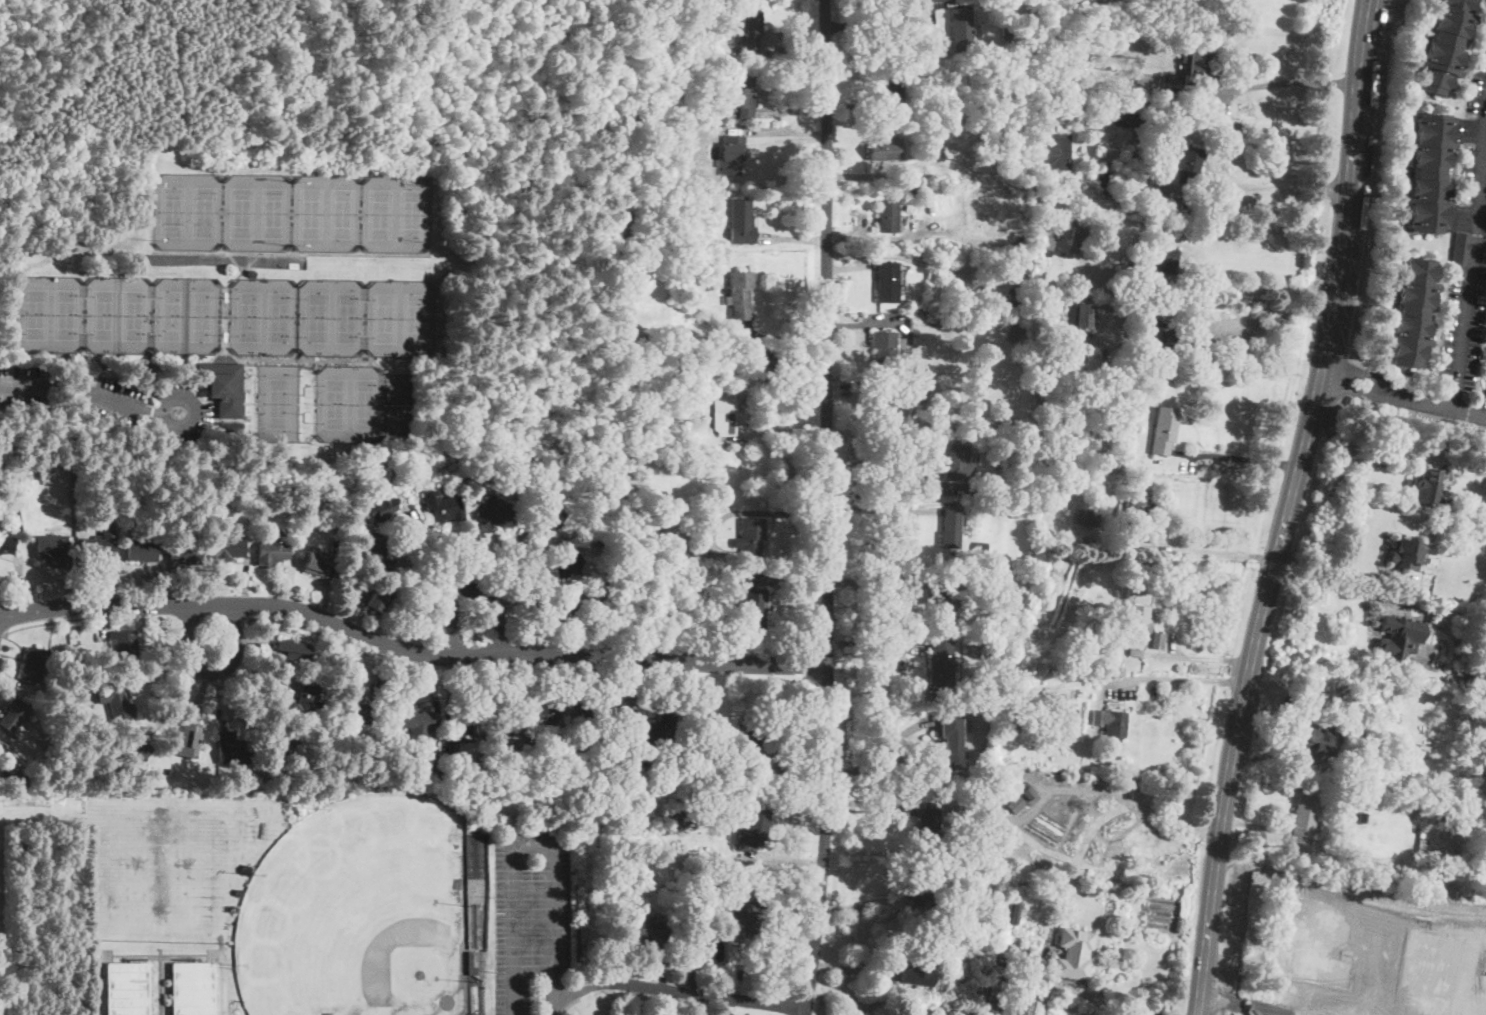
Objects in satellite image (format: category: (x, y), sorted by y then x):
road: (1484, 2)
building: (690, 7)
building: (637, 10)
road: (881, 16)
building: (962, 29)
building: (1006, 32)
building: (750, 33)
building: (1202, 41)
building: (1444, 44)
building: (1197, 67)
road: (1289, 81)
building: (890, 91)
building: (735, 97)
building: (1131, 97)
building: (1121, 115)
building: (1051, 126)
building: (941, 130)
building: (881, 150)
building: (731, 155)
building: (1185, 162)
building: (1428, 174)
building: (678, 177)
road: (1482, 184)
road: (1276, 189)
building: (910, 190)
building: (1160, 202)
building: (1043, 205)
park: (292, 213)
building: (887, 216)
building: (1008, 221)
building: (741, 222)
road: (1367, 230)
building: (1078, 235)
park: (308, 238)
building: (640, 240)
building: (1047, 240)
road: (1470, 253)
building: (1461, 256)
building: (680, 262)
building: (1154, 265)
building: (251, 272)
building: (886, 281)
building: (683, 289)
road: (1249, 291)
building: (740, 294)
building: (1063, 297)
building: (1411, 312)
road: (1270, 313)
park: (119, 314)
building: (1079, 315)
park: (331, 316)
building: (987, 317)
building: (665, 334)
building: (703, 340)
building: (1162, 340)
building: (884, 348)
building: (1208, 359)
building: (747, 361)
road: (104, 372)
building: (223, 388)
road: (91, 393)
road: (1404, 393)
parking lot: (110, 396)
building: (694, 401)
park: (277, 402)
park: (363, 405)
building: (881, 411)
building: (724, 414)
building: (1019, 431)
building: (1163, 431)
building: (646, 438)
building: (660, 441)
road: (1248, 457)
building: (959, 463)
building: (20, 478)
building: (542, 483)
building: (974, 489)
building: (1429, 489)
building: (312, 491)
road: (891, 498)
building: (1134, 500)
building: (221, 505)
building: (442, 506)
building: (381, 507)
building: (0, 508)
road: (827, 508)
road: (1290, 508)
road: (881, 509)
building: (496, 512)
building: (546, 516)
building: (1088, 517)
building: (951, 528)
building: (750, 537)
building: (599, 540)
building: (6, 544)
building: (229, 547)
building: (981, 547)
building: (97, 548)
building: (53, 549)
building: (143, 549)
road: (1212, 551)
building: (186, 552)
building: (272, 552)
building: (377, 552)
building: (678, 553)
building: (1406, 554)
road: (432, 555)
building: (314, 562)
road: (1332, 562)
building: (562, 563)
building: (345, 572)
building: (996, 576)
road: (420, 579)
road: (876, 581)
building: (987, 586)
building: (997, 586)
road: (1333, 586)
road: (473, 589)
building: (378, 597)
building: (946, 598)
building: (975, 600)
building: (749, 602)
building: (563, 609)
building: (673, 611)
building: (1134, 616)
road: (88, 618)
road: (188, 618)
road: (236, 618)
road: (213, 619)
building: (605, 621)
building: (1400, 636)
road: (875, 640)
building: (1157, 640)
building: (125, 645)
building: (1089, 646)
road: (409, 650)
building: (293, 651)
building: (977, 651)
building: (996, 651)
building: (1135, 653)
building: (1108, 661)
building: (33, 664)
building: (942, 664)
road: (444, 668)
building: (277, 669)
road: (212, 671)
building: (1465, 678)
road: (1183, 679)
building: (1345, 686)
building: (1335, 691)
building: (1359, 701)
building: (304, 702)
building: (118, 703)
building: (1073, 712)
building: (546, 713)
building: (357, 714)
building: (15, 716)
building: (1111, 722)
building: (414, 723)
building: (508, 723)
building: (593, 724)
building: (469, 726)
building: (649, 728)
building: (1311, 737)
building: (953, 739)
building: (189, 741)
building: (751, 742)
building: (283, 746)
building: (136, 748)
building: (232, 748)
building: (452, 749)
road: (882, 750)
building: (708, 758)
building: (630, 766)
building: (169, 770)
building: (549, 770)
building: (415, 771)
building: (706, 771)
building: (669, 775)
building: (18, 777)
building: (376, 777)
building: (1378, 779)
building: (559, 781)
building: (567, 781)
building: (960, 797)
building: (1022, 798)
road: (1134, 801)
building: (633, 813)
building: (1437, 814)
building: (1058, 818)
building: (1304, 818)
building: (1362, 819)
building: (678, 821)
building: (1375, 826)
building: (929, 827)
building: (754, 829)
building: (1367, 835)
road: (513, 845)
building: (973, 865)
building: (729, 887)
building: (239, 892)
building: (922, 892)
building: (1024, 908)
park: (360, 913)
parking lot: (529, 913)
building: (1013, 914)
road: (1436, 917)
building: (696, 919)
building: (744, 919)
building: (649, 928)
building: (1319, 937)
road: (1381, 953)
building: (1002, 959)
building: (1071, 963)
building: (469, 964)
building: (918, 969)
building: (1428, 976)
road: (1055, 981)
building: (127, 989)
building: (192, 989)
road: (673, 989)
road: (552, 991)
building: (1483, 994)
road: (542, 996)
building: (978, 997)
road: (569, 1005)
building: (1040, 1005)
building: (999, 1007)
road: (1338, 1008)
building: (1074, 1013)
building: (1061, 1014)

